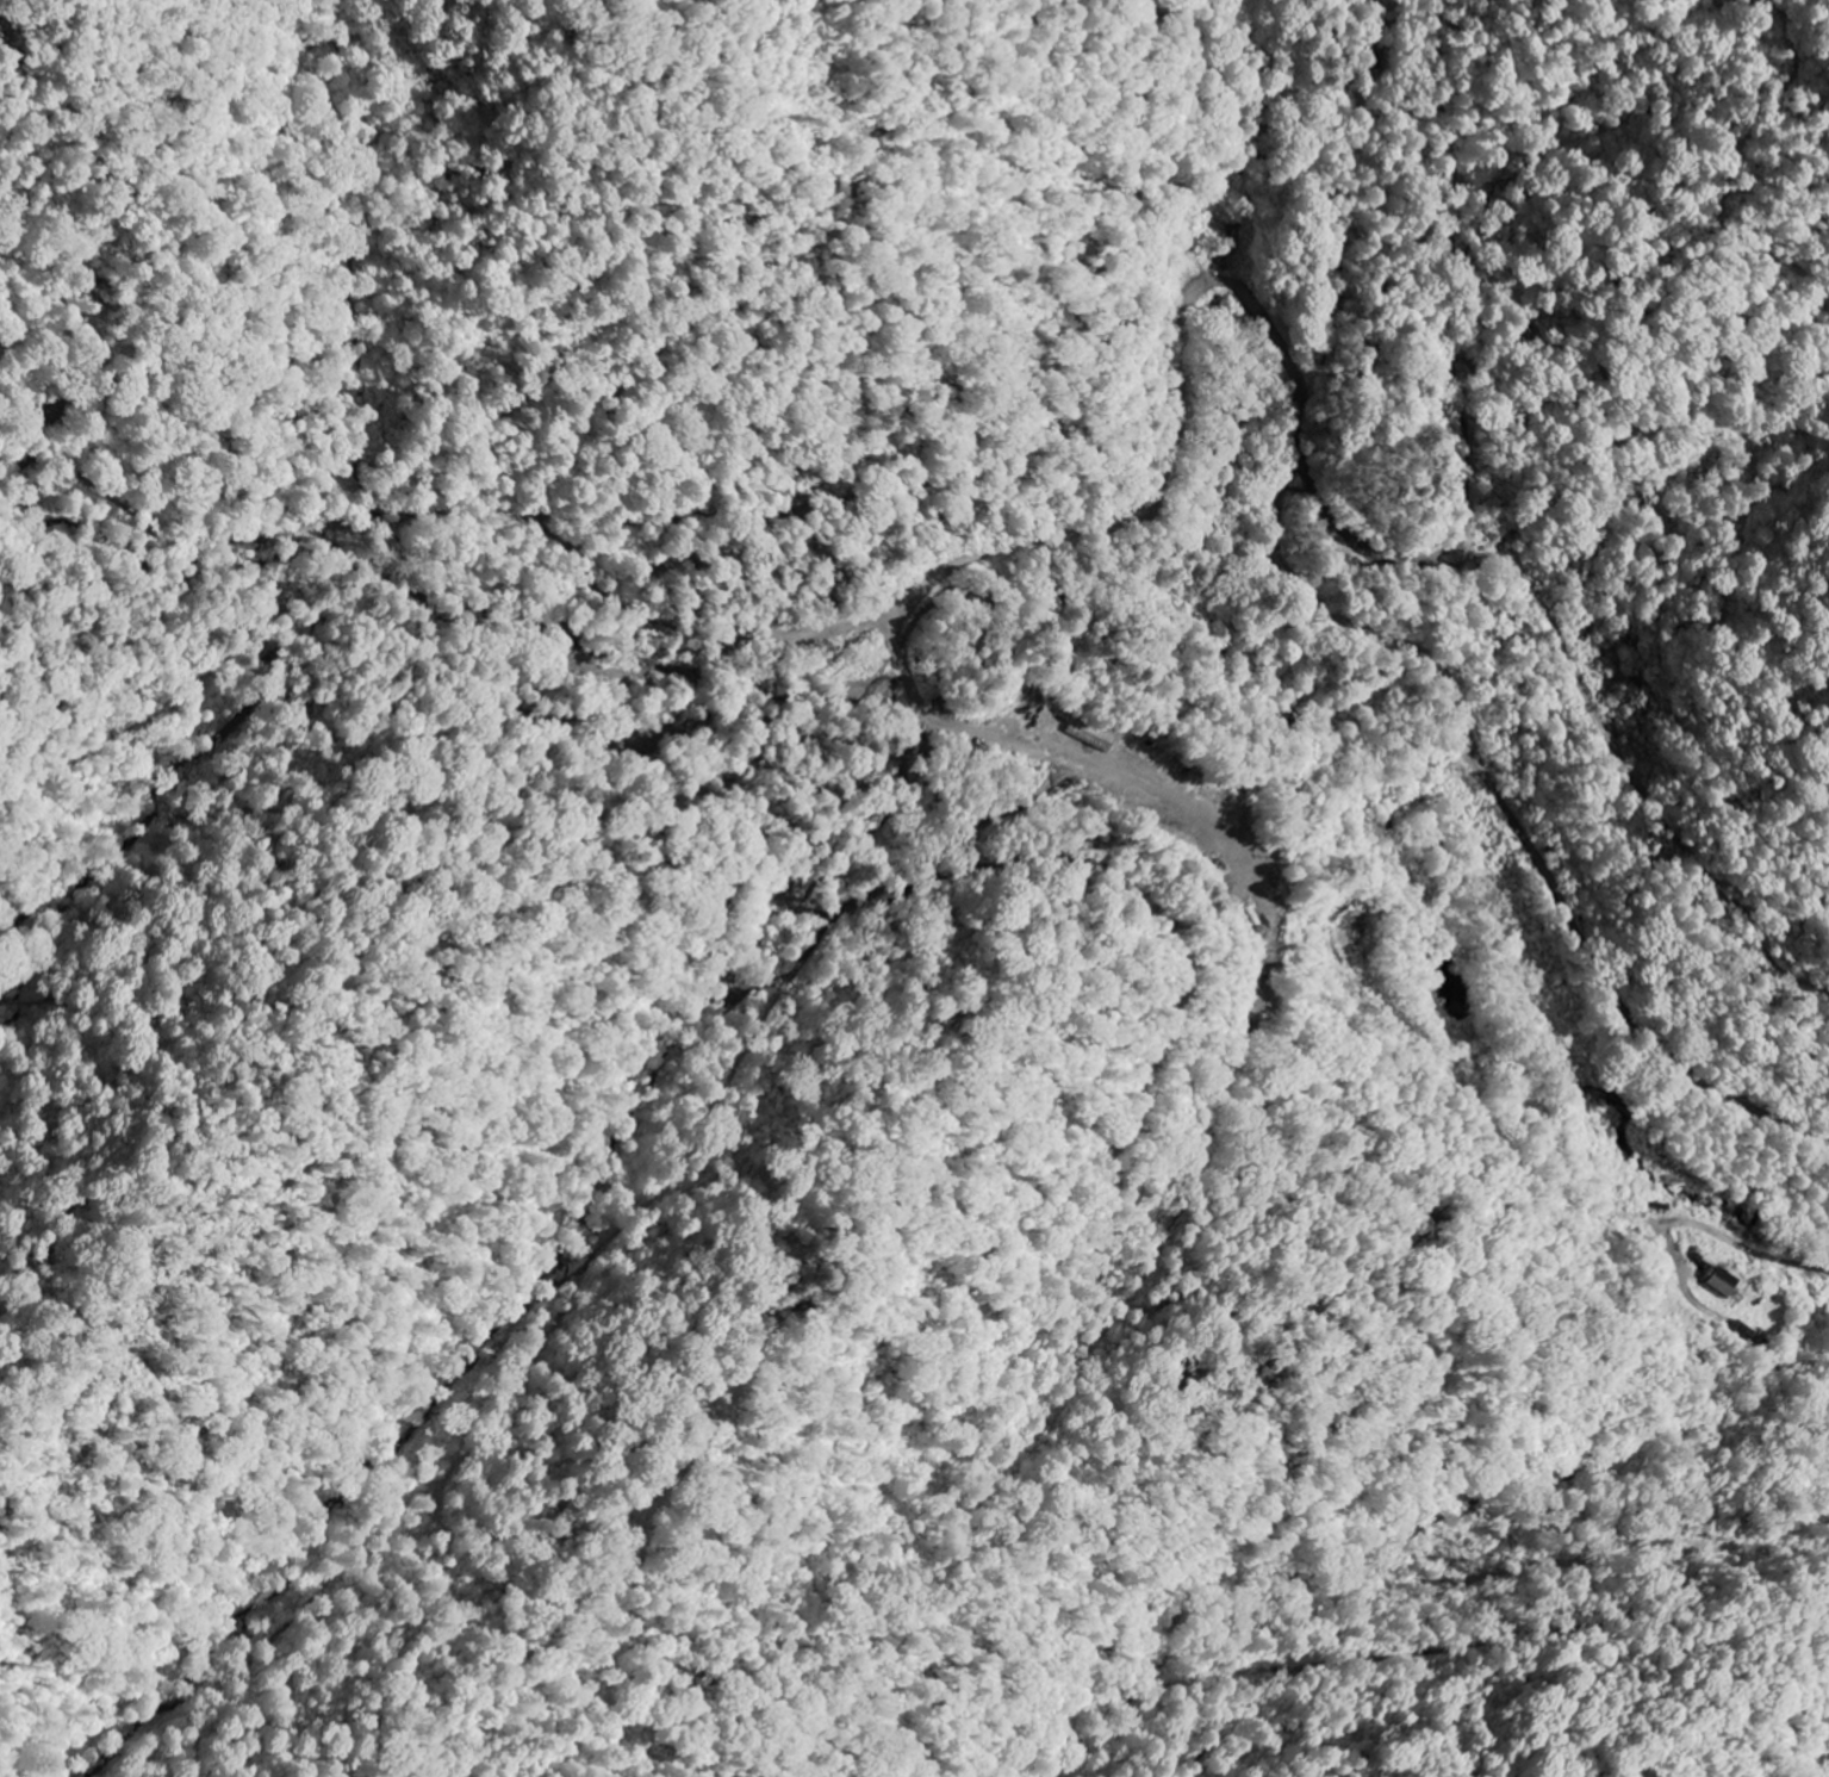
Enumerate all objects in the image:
road: (1825, 1266)
building: (1721, 1282)

